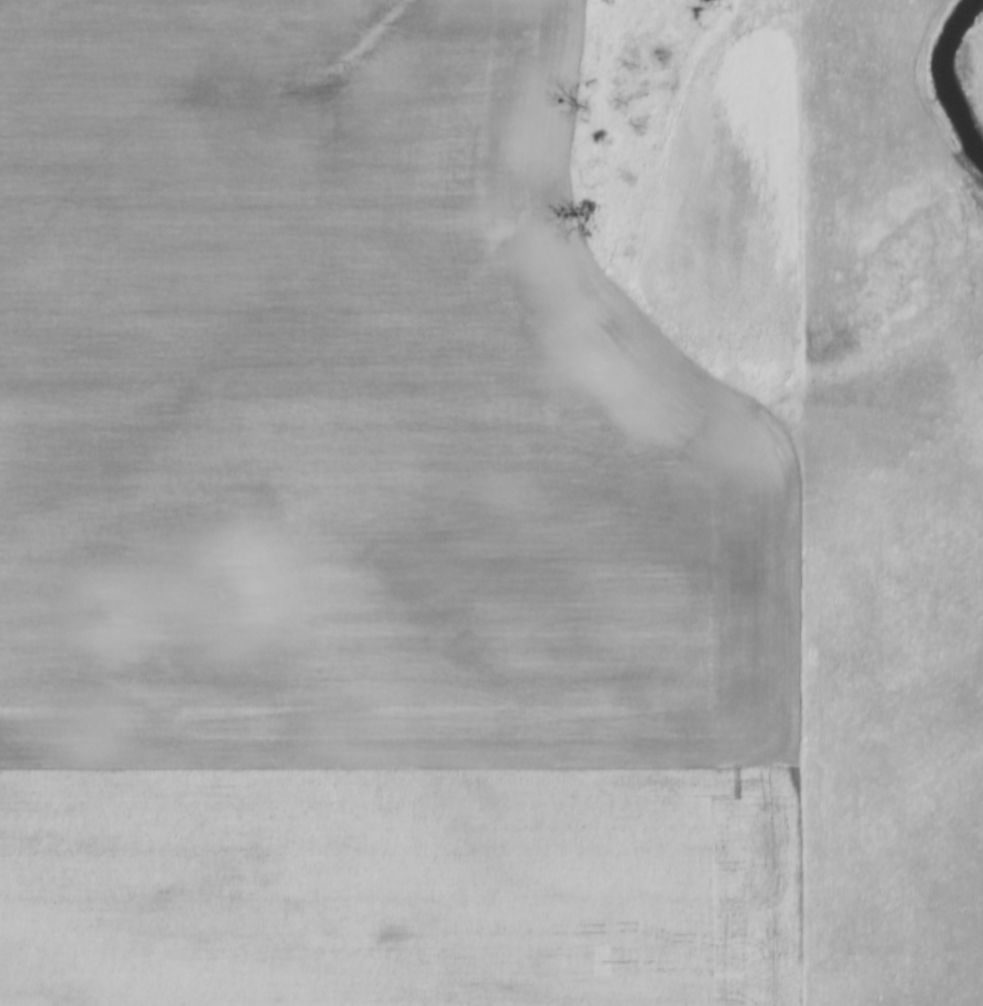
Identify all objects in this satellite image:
river: (973, 55)

